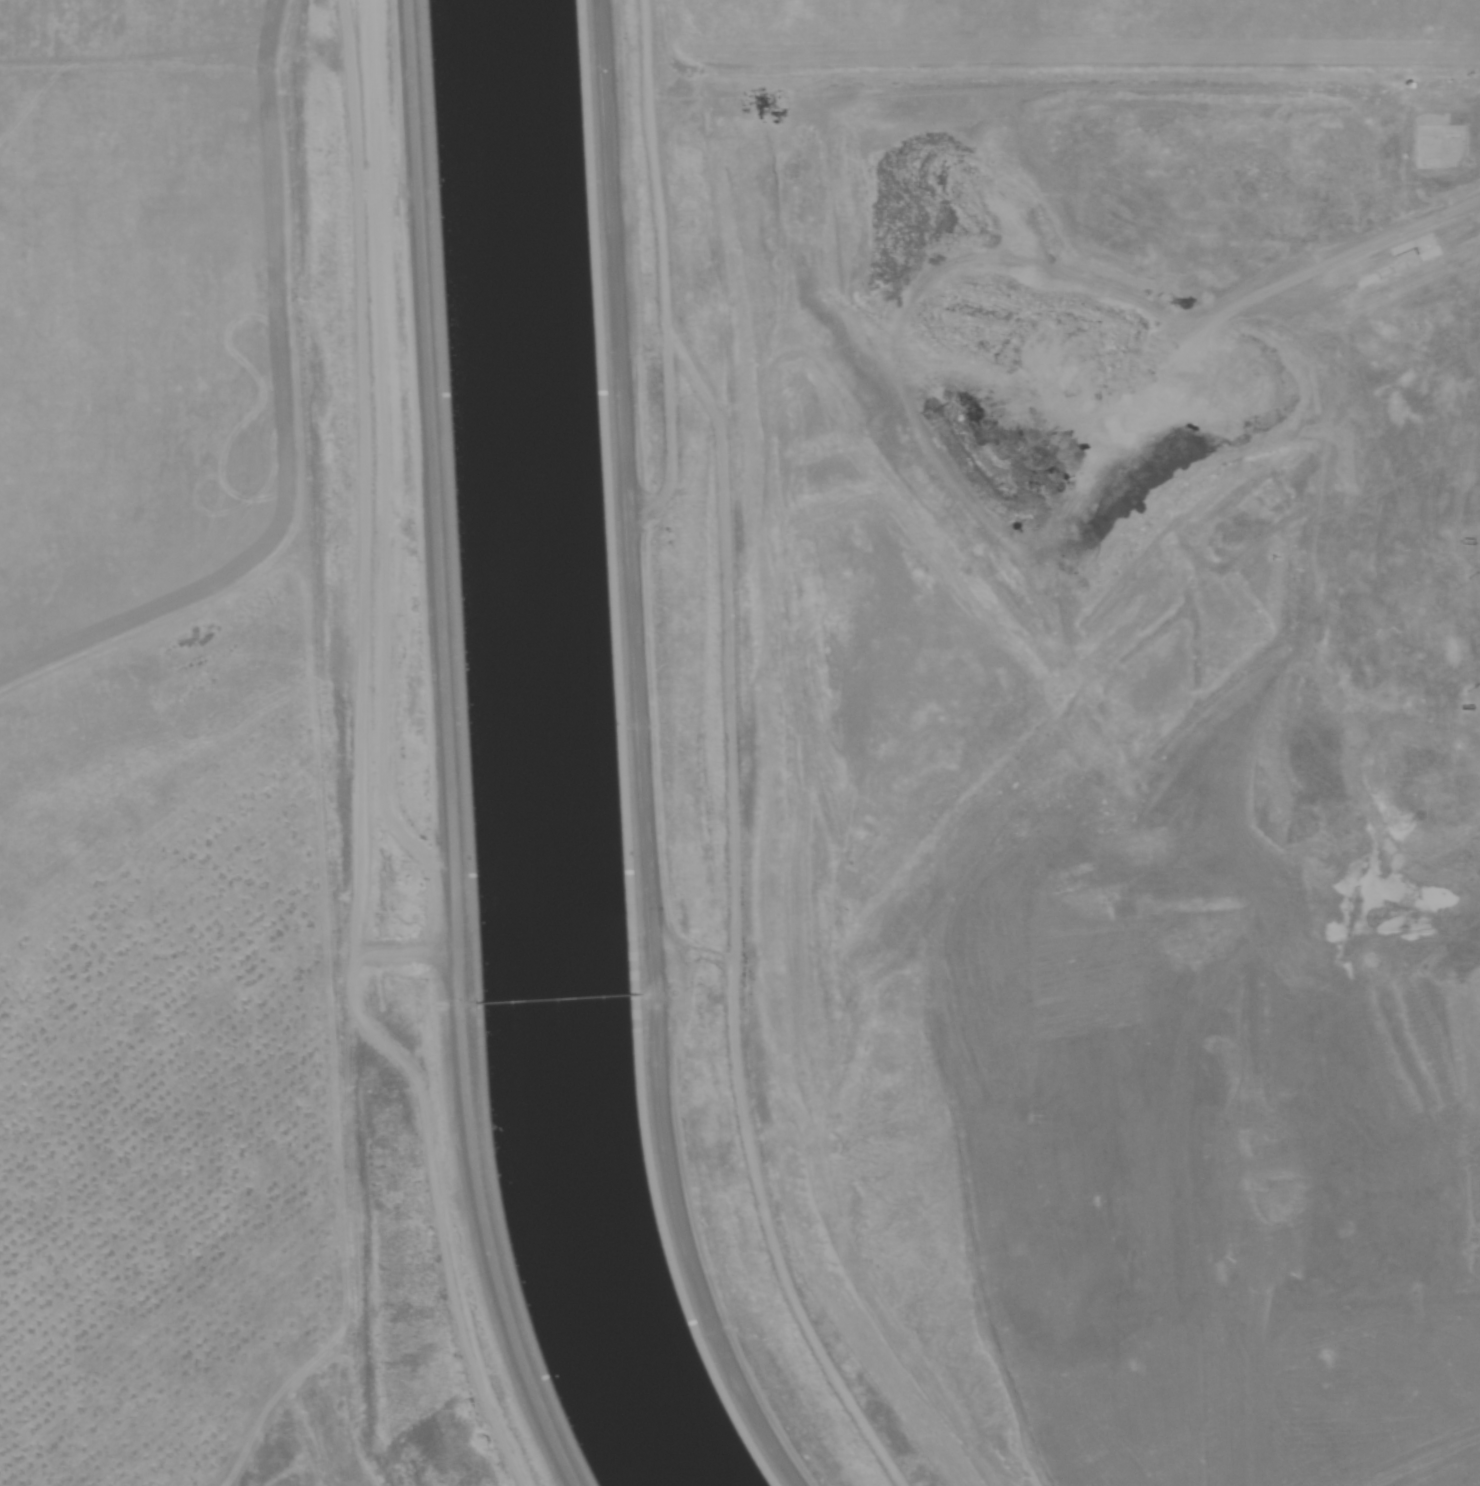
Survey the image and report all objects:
crop: (1081, 30)
road: (135, 76)
road: (1301, 668)
road: (446, 730)
crop: (208, 739)
road: (1058, 952)

